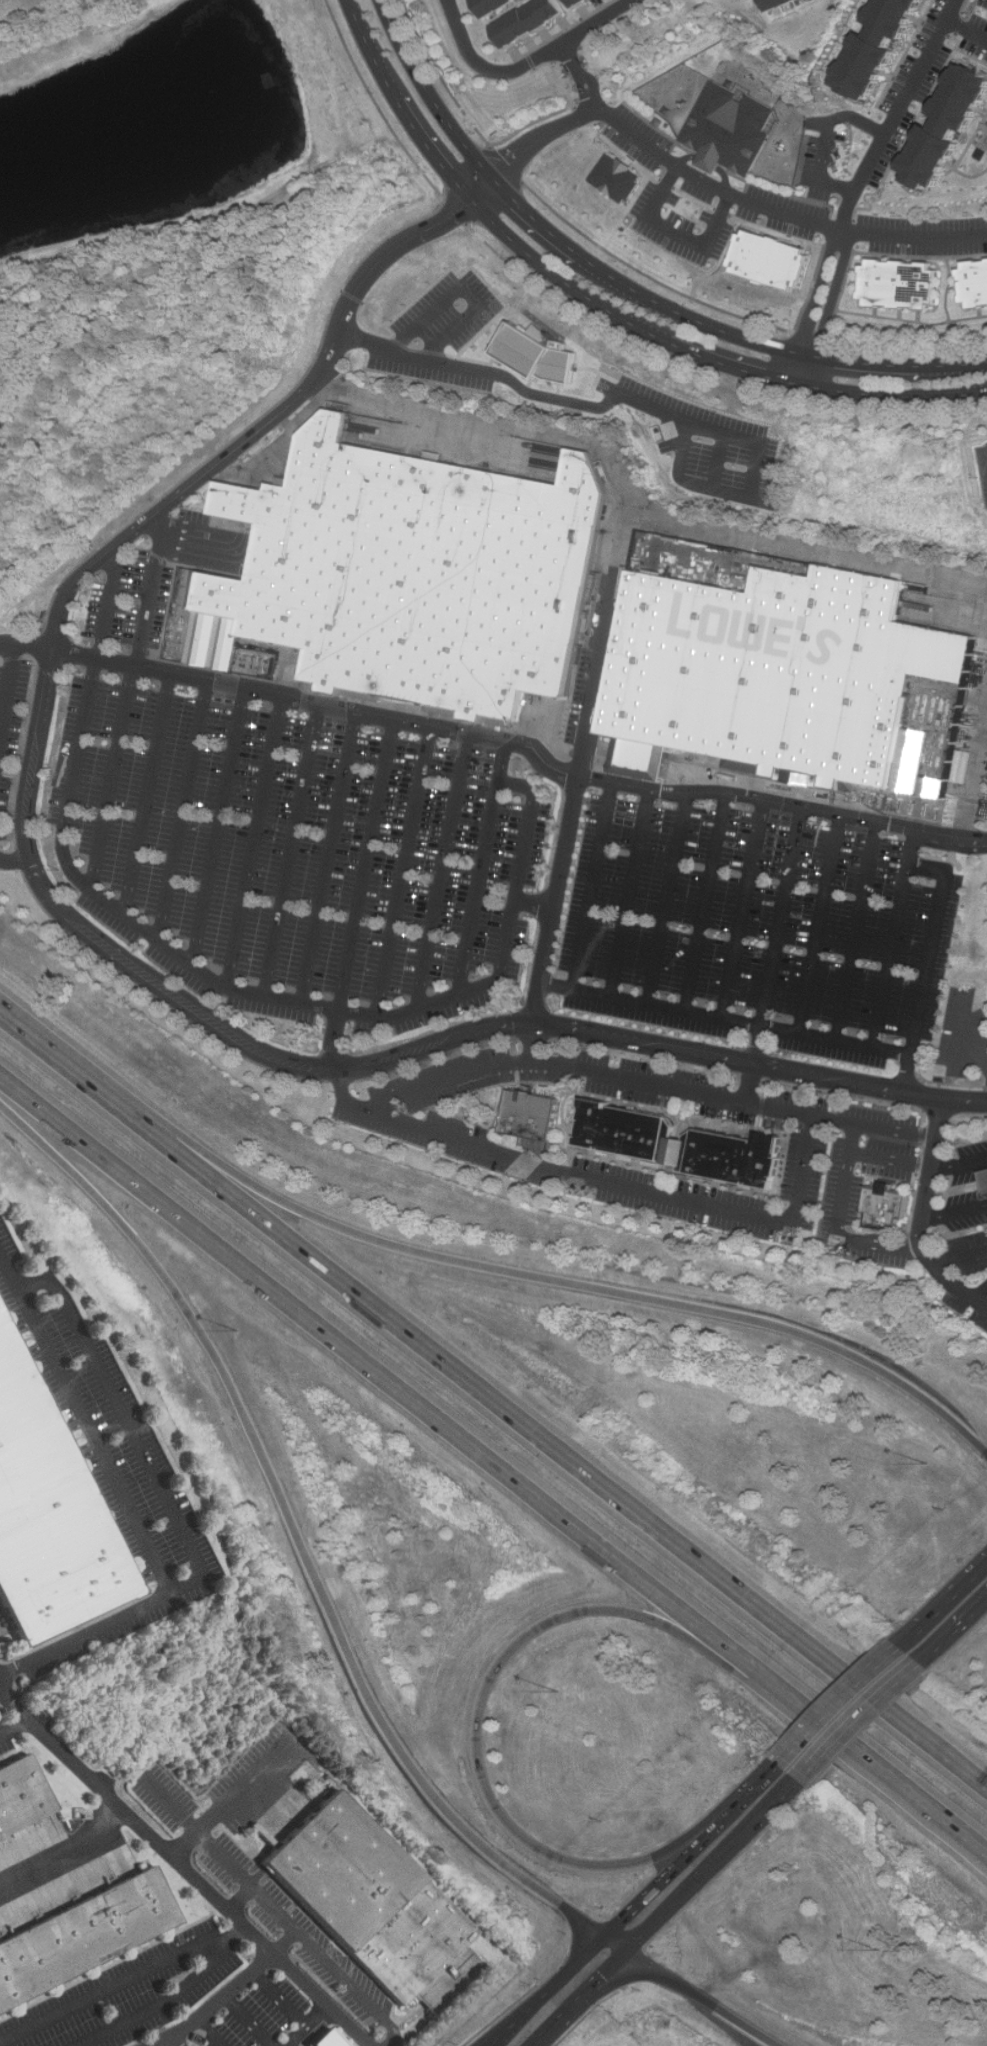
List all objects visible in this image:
building: (577, 3)
building: (775, 4)
building: (491, 6)
building: (527, 20)
road: (965, 28)
building: (867, 47)
road: (563, 58)
road: (526, 65)
dam: (295, 69)
road: (581, 91)
road: (431, 96)
road: (402, 106)
road: (895, 113)
building: (729, 130)
building: (946, 130)
road: (545, 136)
road: (828, 139)
building: (617, 178)
road: (719, 187)
road: (485, 192)
road: (674, 230)
road: (915, 237)
building: (769, 260)
road: (563, 283)
building: (898, 283)
building: (974, 283)
road: (466, 286)
road: (817, 290)
road: (837, 295)
road: (586, 319)
road: (720, 329)
building: (536, 355)
road: (737, 371)
road: (810, 373)
road: (897, 398)
road: (635, 401)
road: (718, 461)
road: (635, 502)
building: (419, 572)
road: (603, 638)
building: (773, 674)
road: (10, 688)
road: (130, 699)
parking lot: (14, 715)
road: (506, 740)
road: (973, 773)
road: (148, 796)
road: (184, 812)
road: (219, 829)
parking lot: (286, 841)
road: (255, 843)
road: (293, 851)
road: (330, 858)
road: (16, 862)
road: (367, 866)
road: (483, 868)
road: (443, 872)
road: (404, 873)
road: (592, 887)
road: (631, 894)
road: (668, 900)
road: (707, 903)
road: (536, 906)
road: (744, 911)
road: (553, 919)
road: (783, 919)
road: (820, 926)
parking lot: (760, 932)
road: (858, 933)
road: (91, 937)
road: (895, 941)
road: (219, 985)
road: (557, 986)
parking lot: (963, 1033)
road: (964, 1033)
road: (851, 1045)
road: (58, 1054)
road: (334, 1055)
road: (986, 1060)
road: (754, 1066)
road: (907, 1075)
road: (648, 1084)
building: (530, 1114)
building: (627, 1131)
building: (733, 1158)
parking lot: (854, 1163)
road: (959, 1164)
building: (985, 1179)
road: (619, 1187)
road: (926, 1197)
building: (886, 1207)
road: (955, 1211)
road: (839, 1226)
parking lot: (965, 1236)
road: (959, 1257)
road: (552, 1281)
road: (968, 1296)
road: (982, 1297)
road: (127, 1429)
road: (550, 1444)
parking lot: (106, 1462)
road: (493, 1464)
road: (125, 1509)
building: (46, 1519)
road: (294, 1531)
road: (943, 1605)
road: (957, 1625)
road: (521, 1638)
road: (840, 1707)
road: (863, 1718)
road: (14, 1728)
parking lot: (4, 1742)
parking lot: (247, 1762)
road: (765, 1782)
building: (21, 1796)
road: (232, 1799)
road: (65, 1854)
road: (713, 1867)
road: (184, 1868)
road: (677, 1868)
parking lot: (262, 1898)
road: (241, 1899)
building: (375, 1905)
road: (274, 1909)
building: (83, 1937)
traffic signals: (605, 1938)
road: (285, 1943)
road: (615, 1945)
traffic signals: (626, 1953)
road: (125, 1981)
road: (548, 1992)
parking lot: (128, 1995)
road: (701, 1998)
road: (279, 1999)
road: (582, 2000)
road: (215, 2002)
road: (157, 2006)
parking lot: (266, 2019)
road: (247, 2021)
road: (305, 2025)
road: (210, 2032)
building: (327, 2039)
road: (176, 2041)

